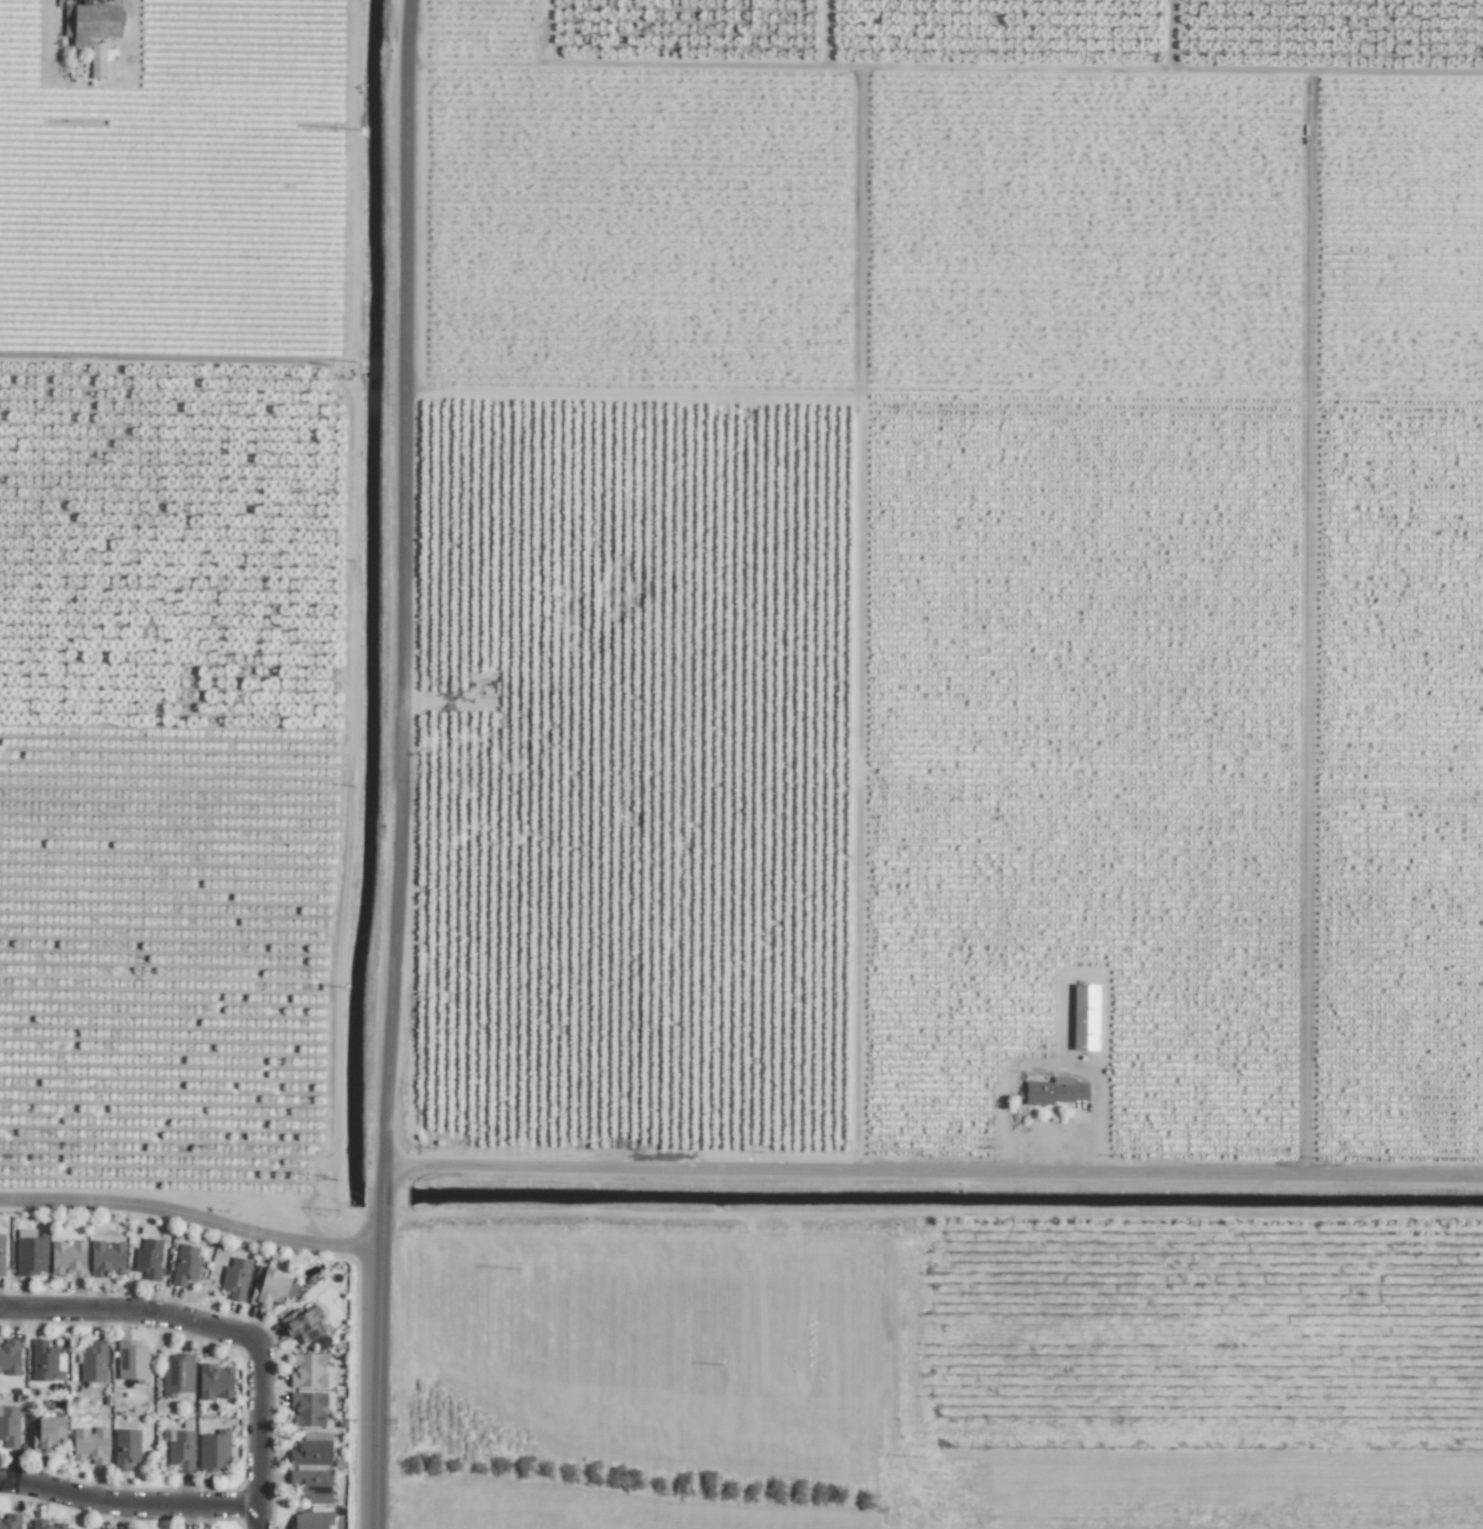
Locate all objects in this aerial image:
building: (93, 22)
building: (97, 60)
road: (391, 764)
building: (1084, 1017)
building: (1055, 1091)
road: (932, 1168)
road: (190, 1216)
building: (31, 1254)
building: (2, 1255)
building: (68, 1258)
building: (106, 1258)
building: (148, 1259)
building: (185, 1264)
building: (235, 1277)
building: (269, 1289)
road: (131, 1309)
building: (304, 1324)
building: (9, 1356)
building: (132, 1360)
building: (43, 1361)
building: (93, 1362)
building: (308, 1370)
building: (177, 1375)
building: (214, 1381)
building: (307, 1409)
road: (259, 1425)
building: (9, 1426)
building: (48, 1433)
building: (90, 1445)
building: (125, 1448)
building: (181, 1450)
building: (311, 1450)
building: (213, 1452)
building: (311, 1485)
road: (127, 1504)
road: (259, 1516)
building: (10, 1520)
building: (47, 1524)

